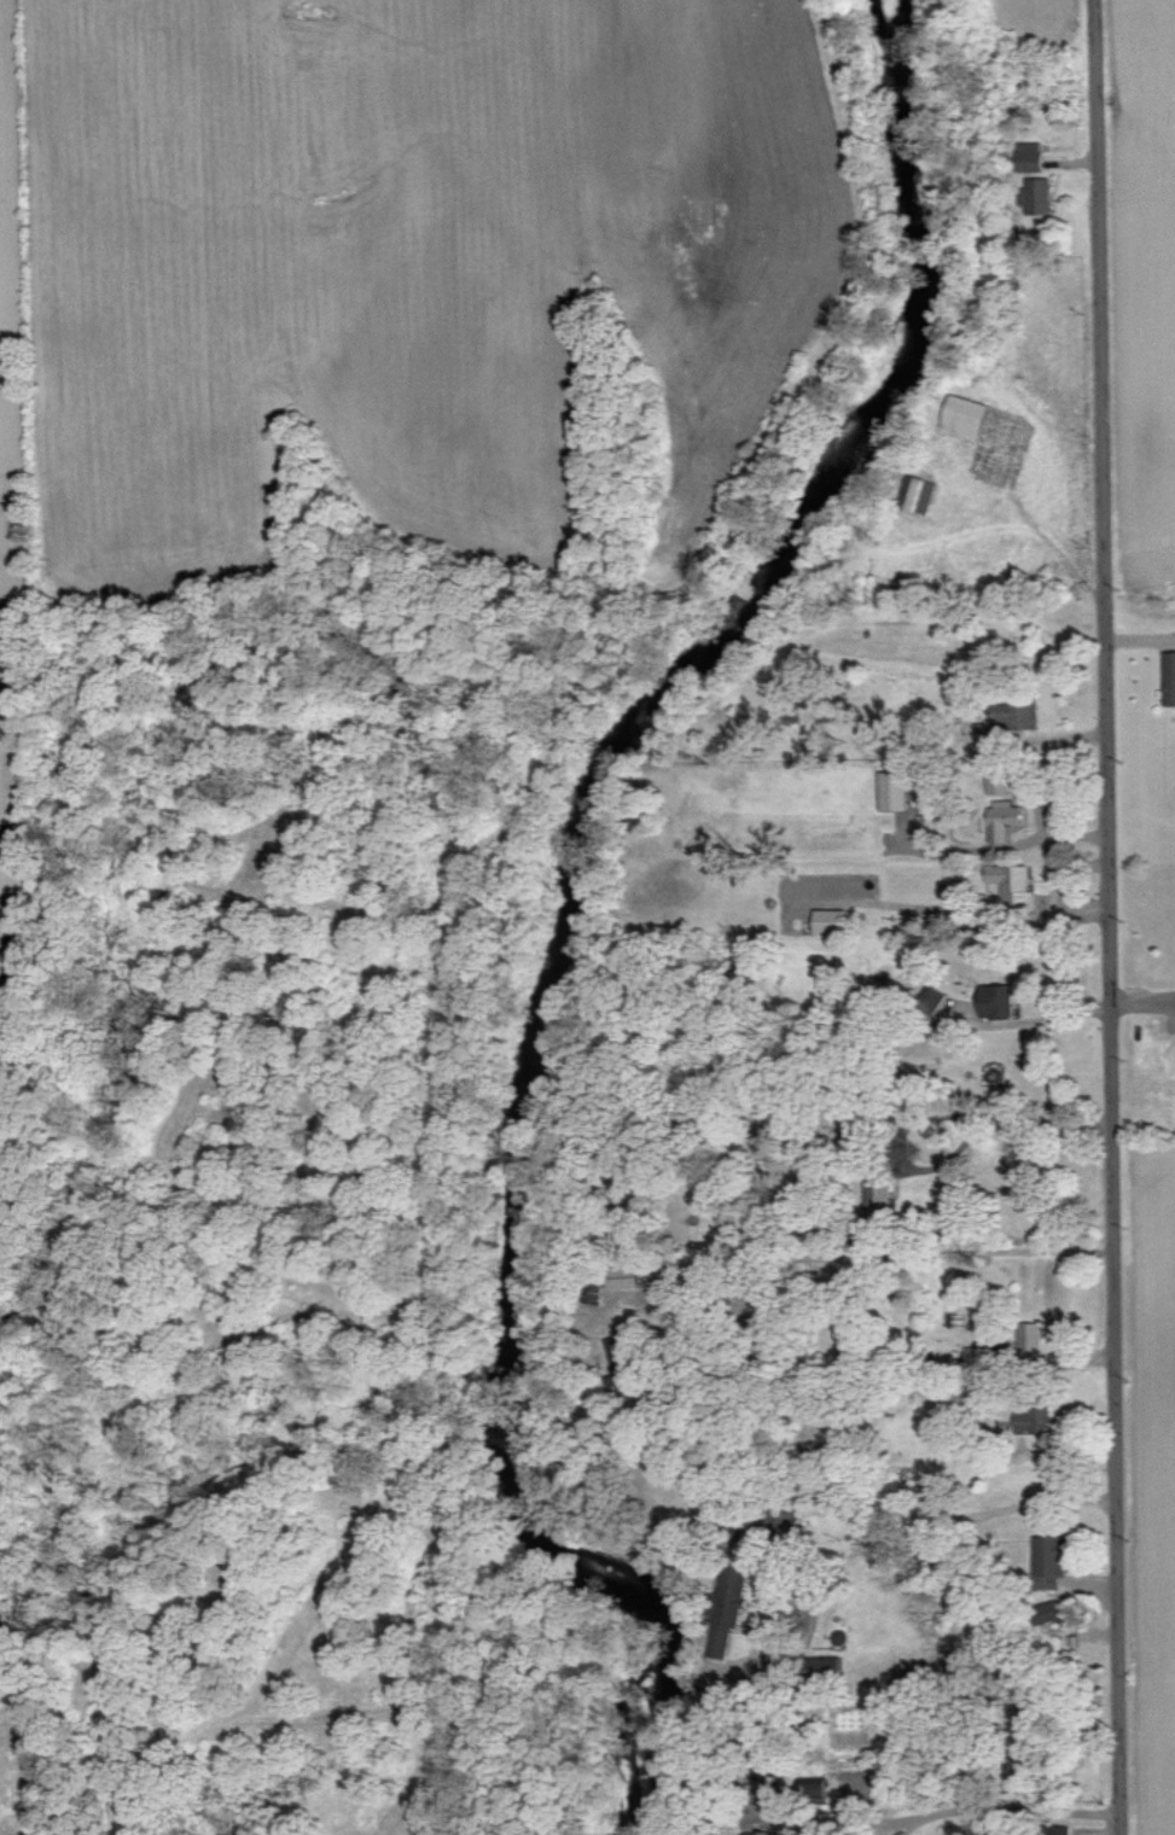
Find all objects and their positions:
building: (1031, 156)
building: (1037, 194)
building: (923, 495)
building: (1169, 677)
building: (1017, 715)
building: (995, 744)
building: (894, 790)
building: (1005, 819)
building: (1013, 881)
road: (1104, 916)
building: (831, 921)
building: (997, 1000)
road: (1040, 1015)
road: (869, 1254)
building: (622, 1276)
building: (1028, 1421)
road: (863, 1546)
building: (1052, 1559)
building: (825, 1668)
building: (815, 1788)
road: (956, 1808)

